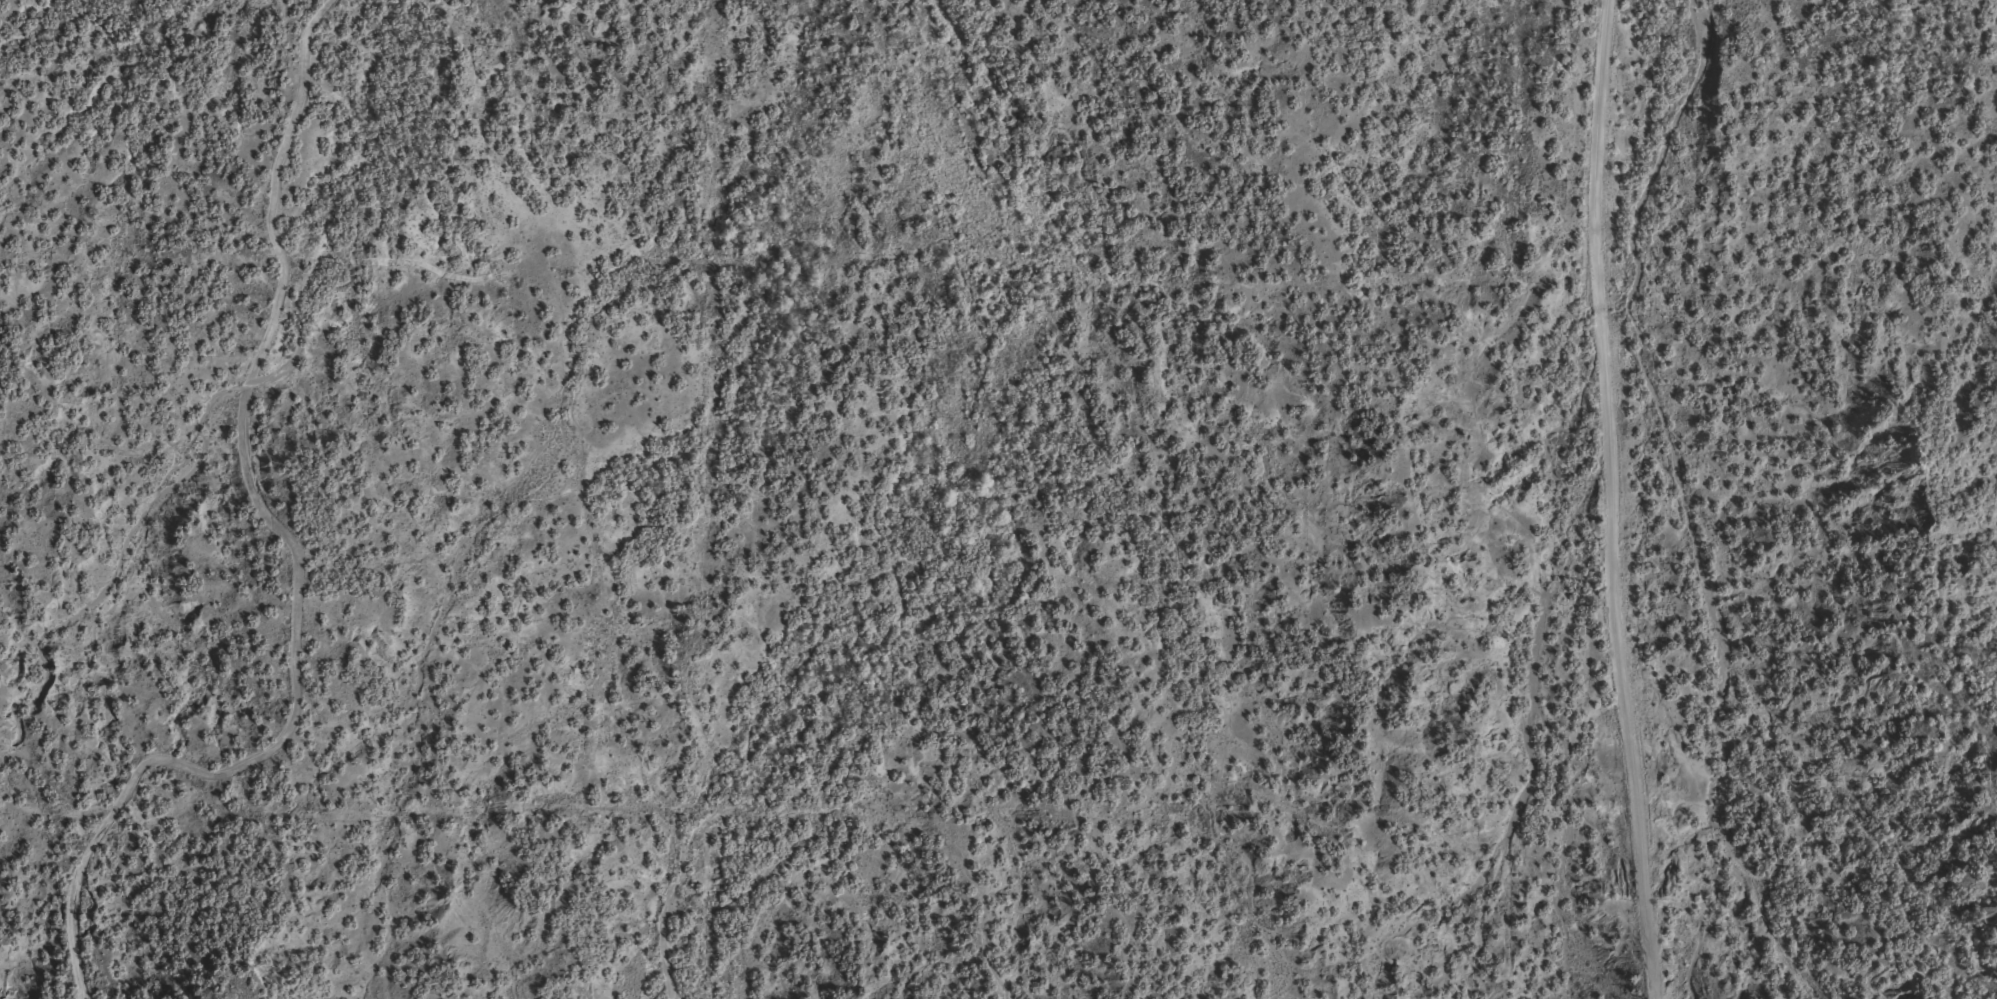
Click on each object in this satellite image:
road: (1613, 500)

